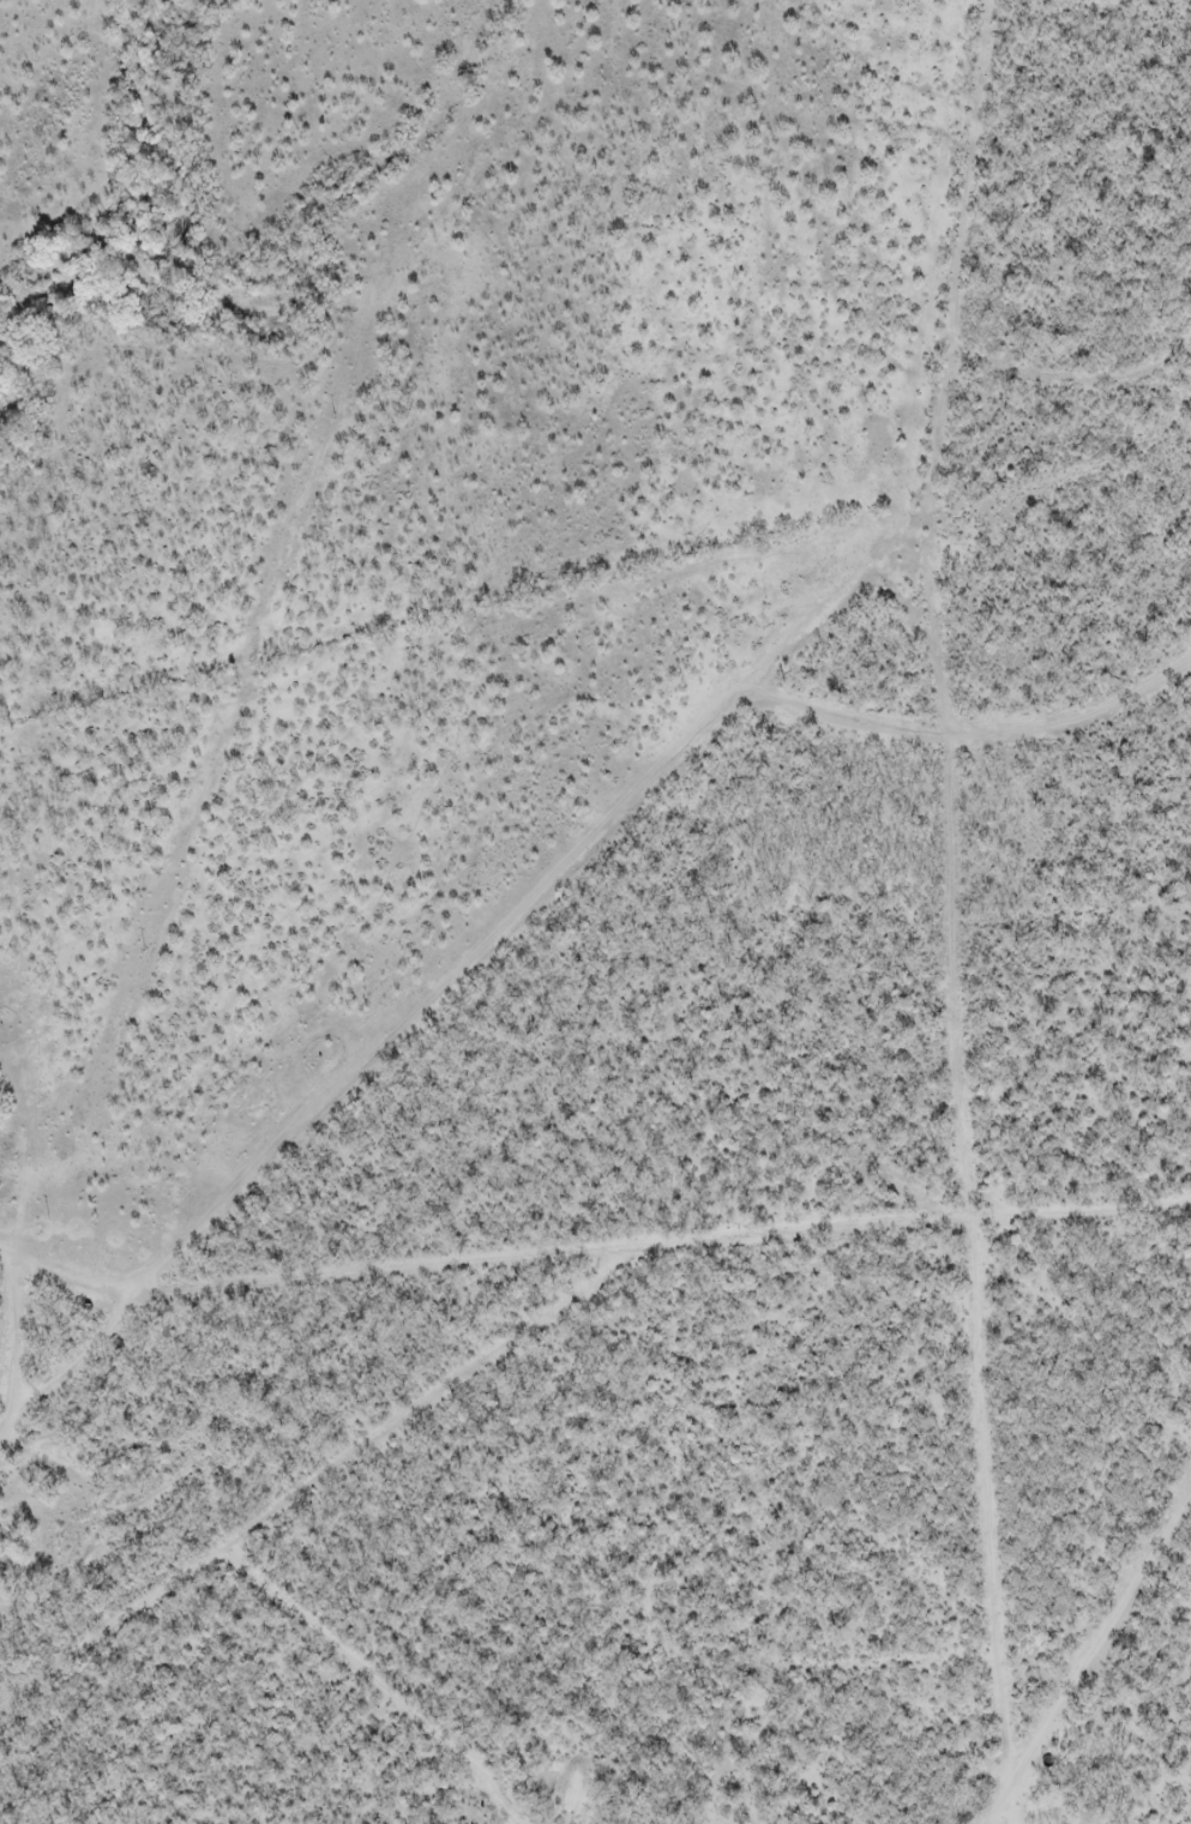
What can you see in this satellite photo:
road: (1089, 1659)

